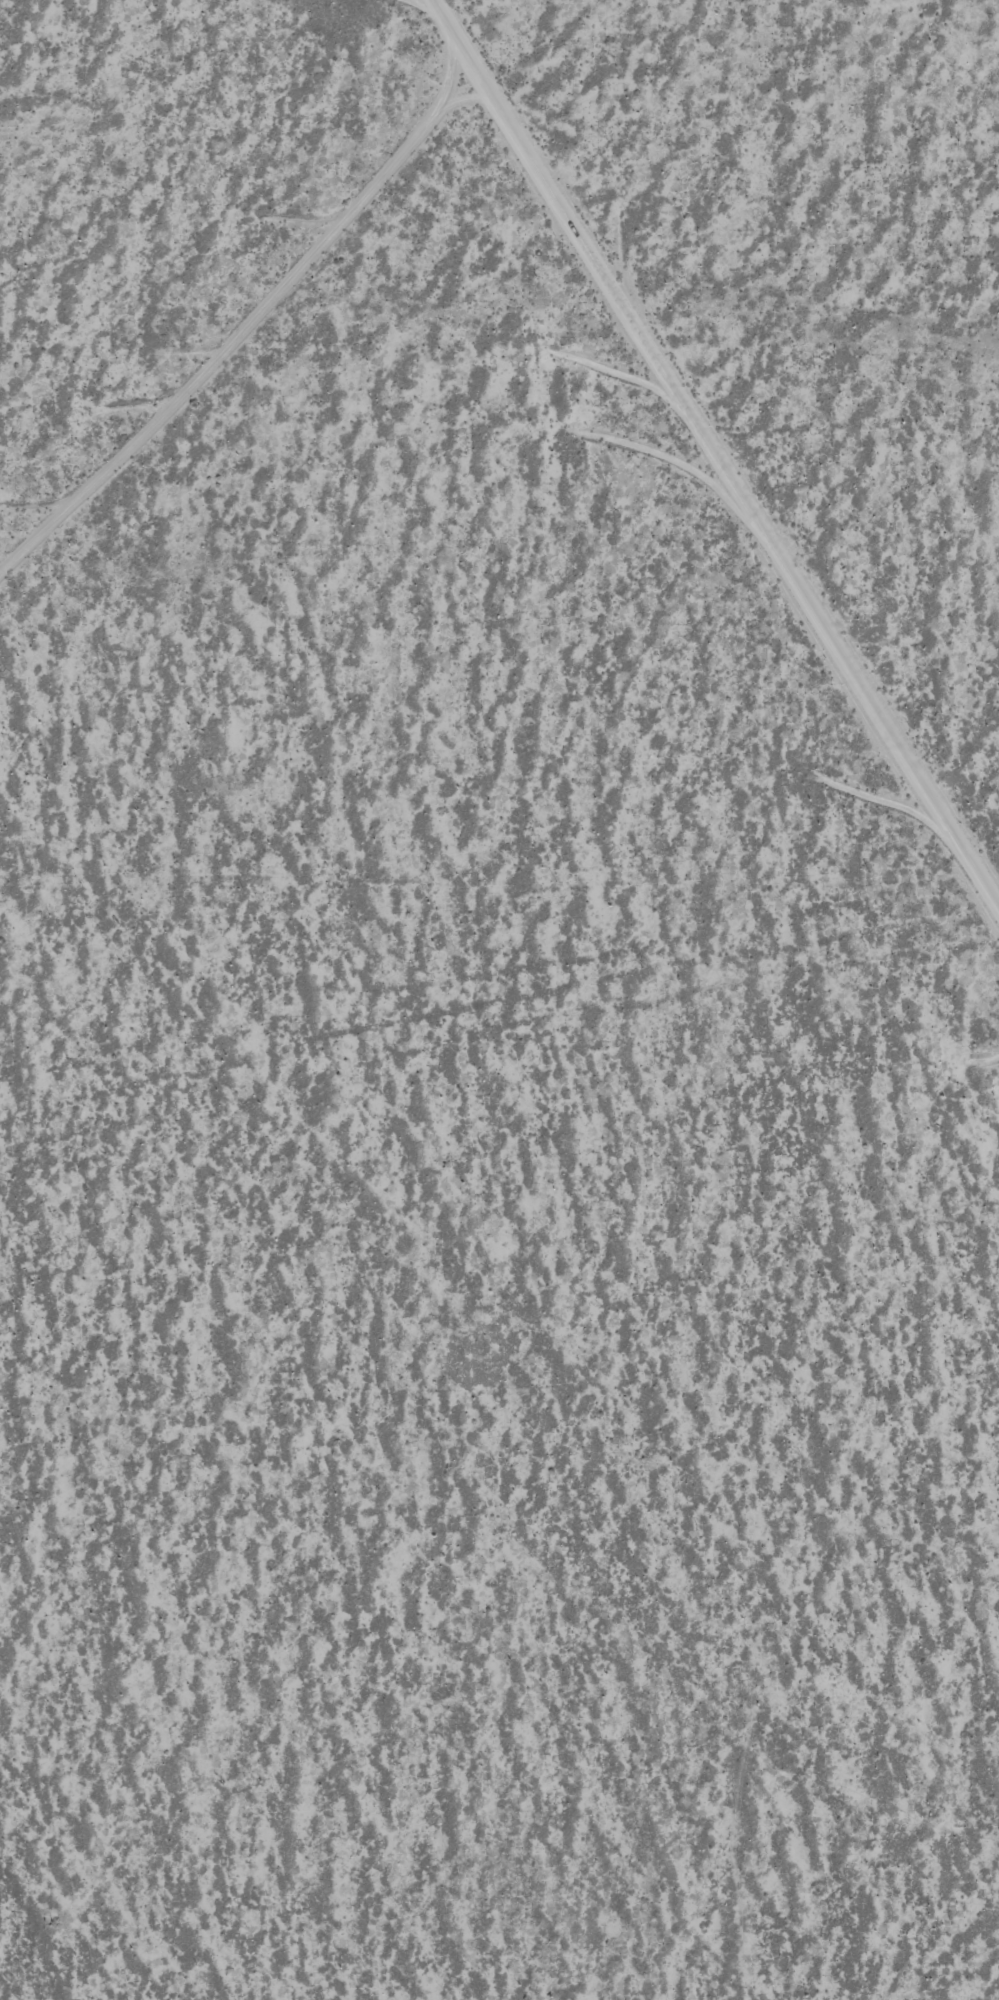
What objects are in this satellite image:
road: (461, 61)
road: (233, 344)
road: (744, 515)

